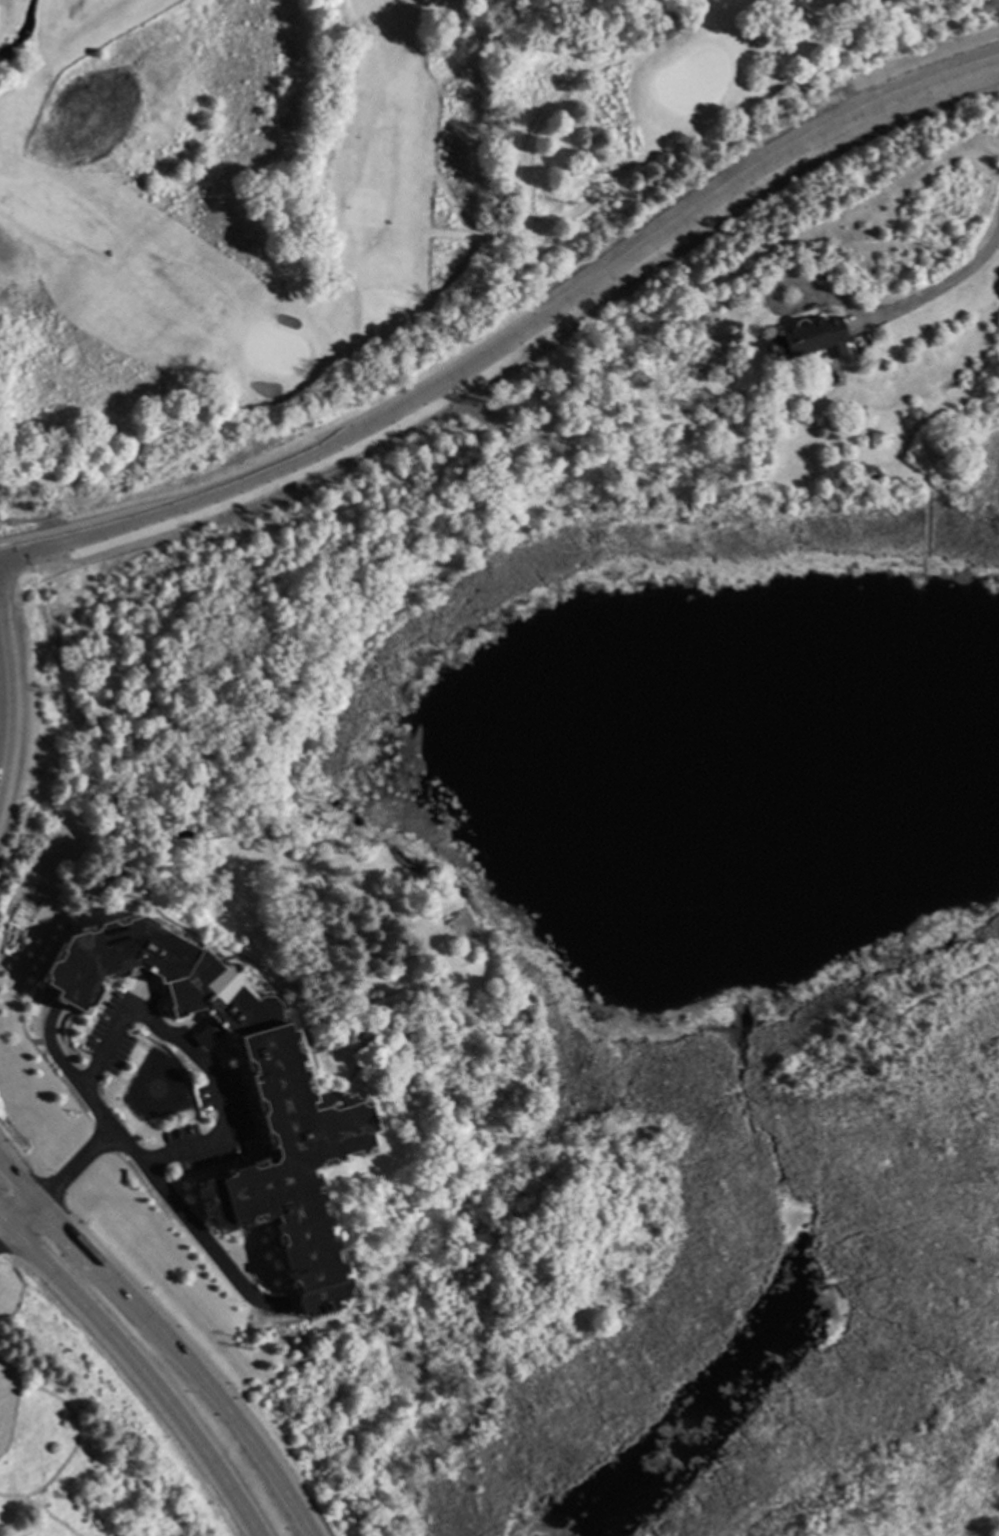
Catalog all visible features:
road: (795, 13)
road: (19, 34)
road: (540, 111)
park: (327, 162)
park: (357, 188)
road: (543, 222)
road: (943, 287)
building: (809, 338)
road: (515, 343)
road: (3, 697)
road: (202, 1060)
road: (68, 1069)
building: (317, 1130)
road: (156, 1181)
road: (21, 1216)
road: (3, 1234)
road: (165, 1340)
road: (136, 1371)

